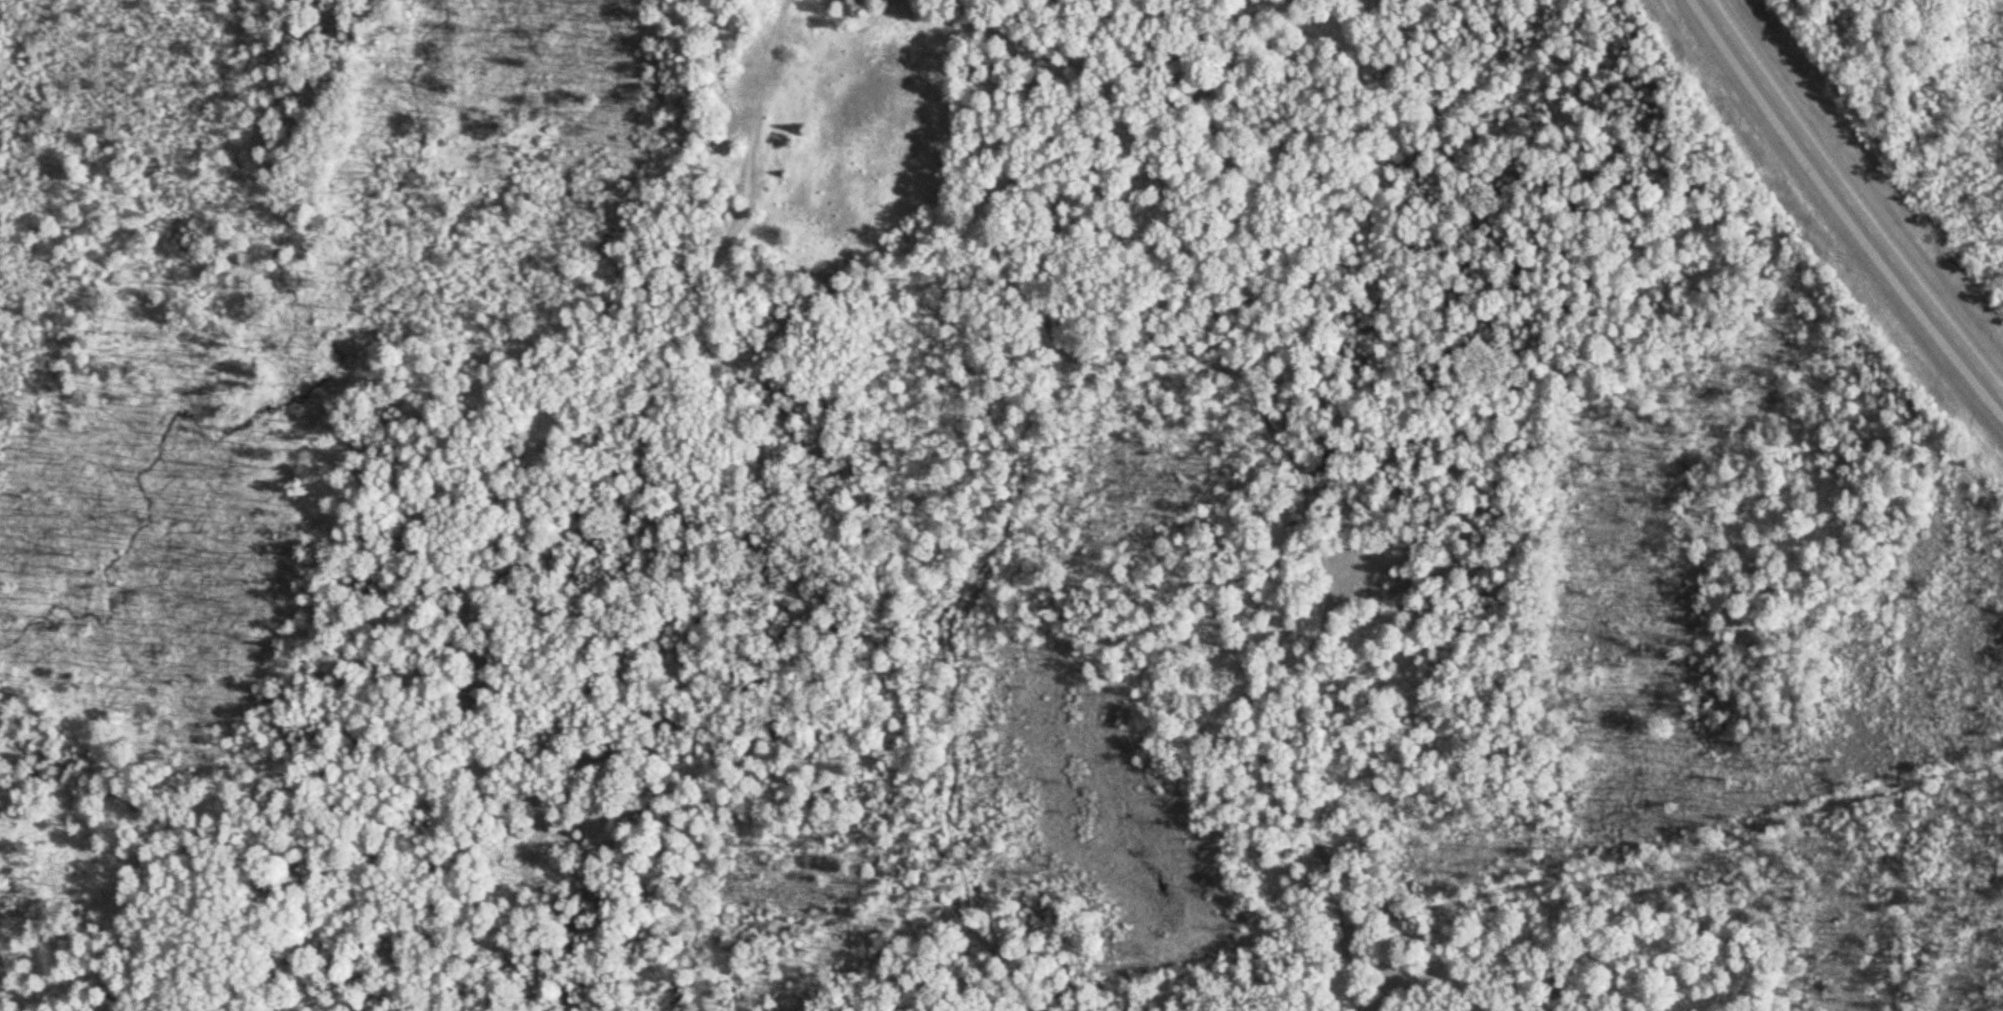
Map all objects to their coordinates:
road: (1853, 196)

